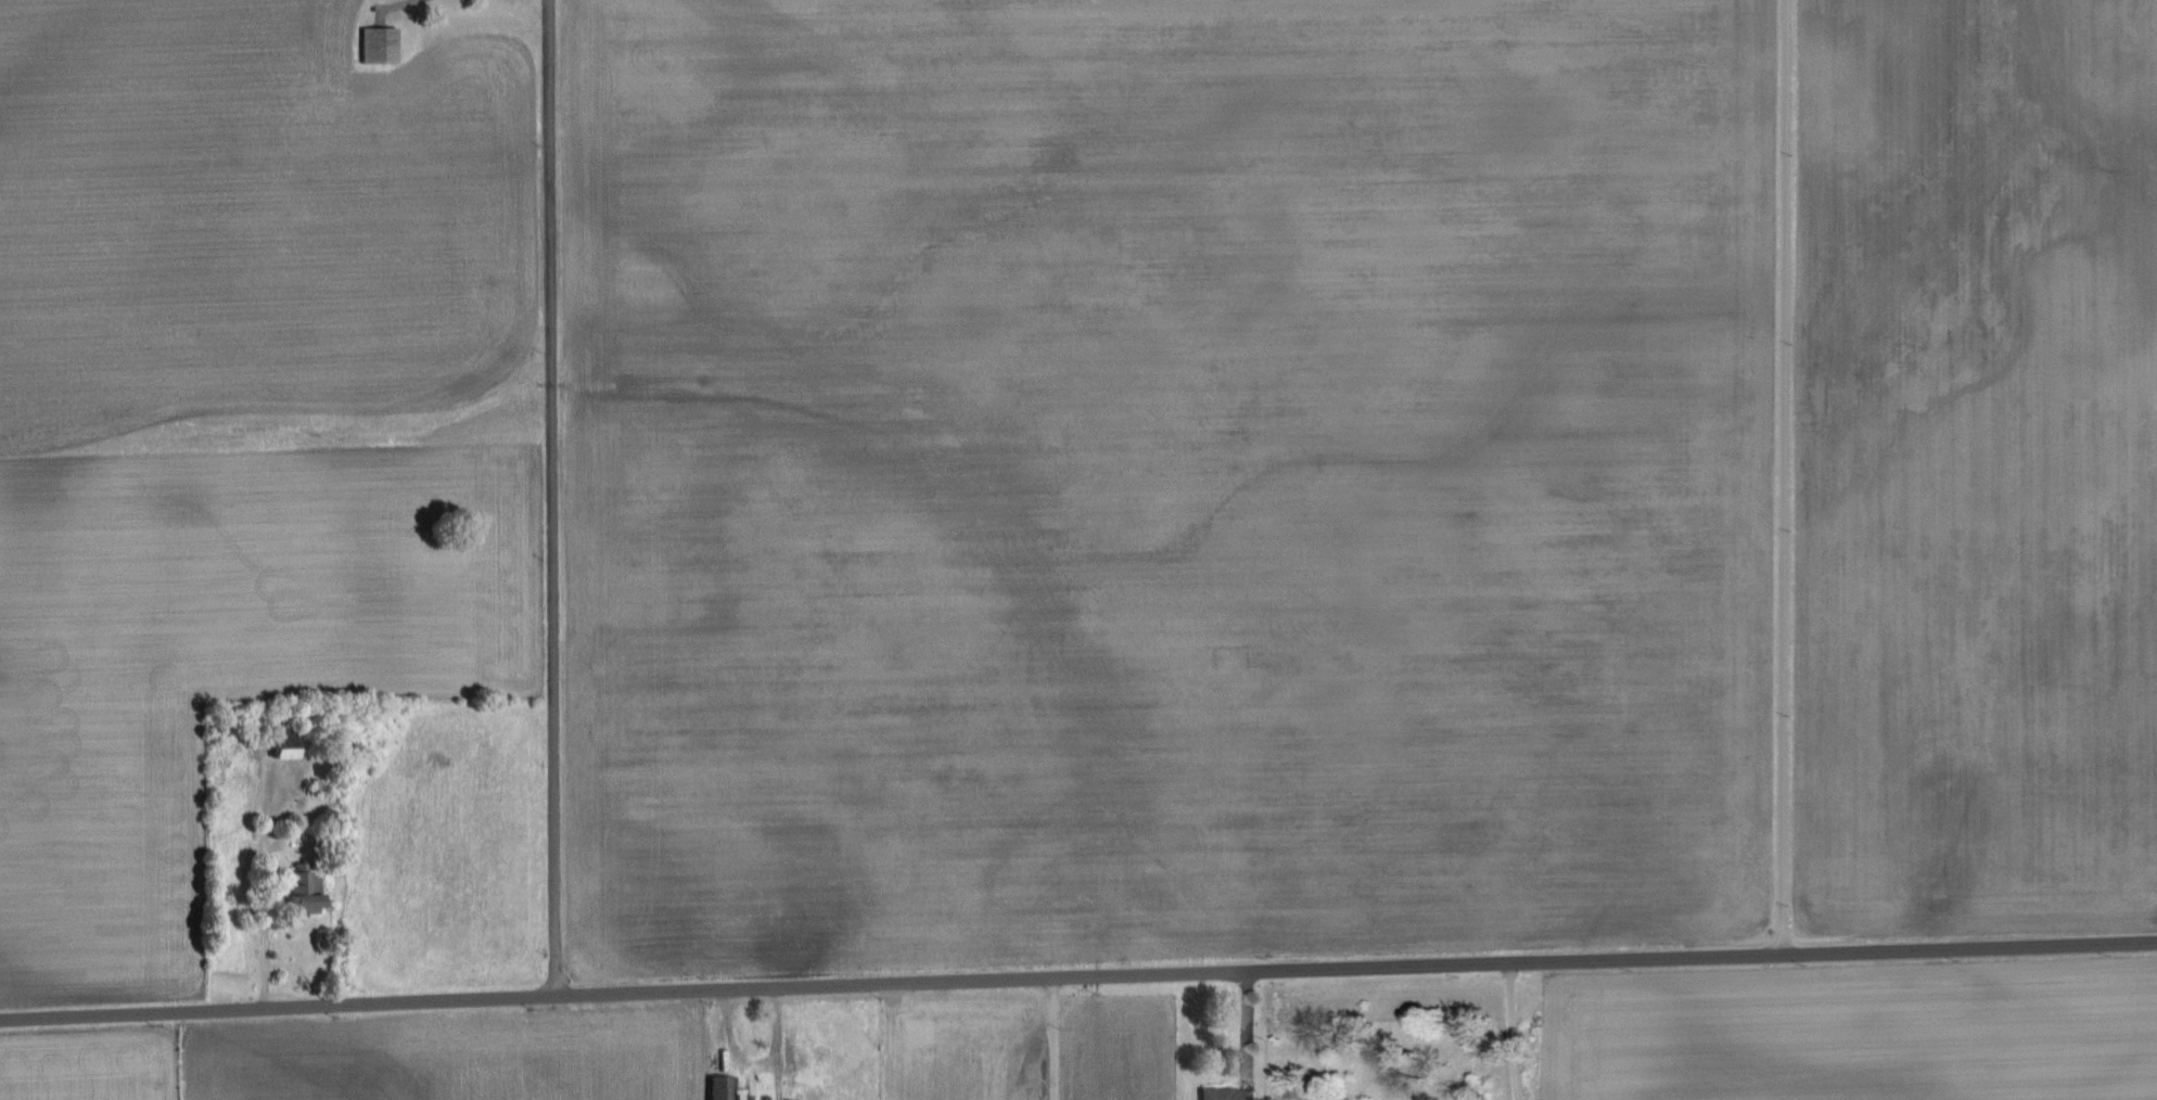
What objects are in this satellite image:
building: (380, 44)
road: (1783, 475)
road: (552, 497)
building: (283, 754)
building: (306, 892)
road: (264, 935)
road: (1077, 975)
road: (1509, 1029)
road: (1051, 1038)
building: (722, 1087)
building: (1230, 1093)

